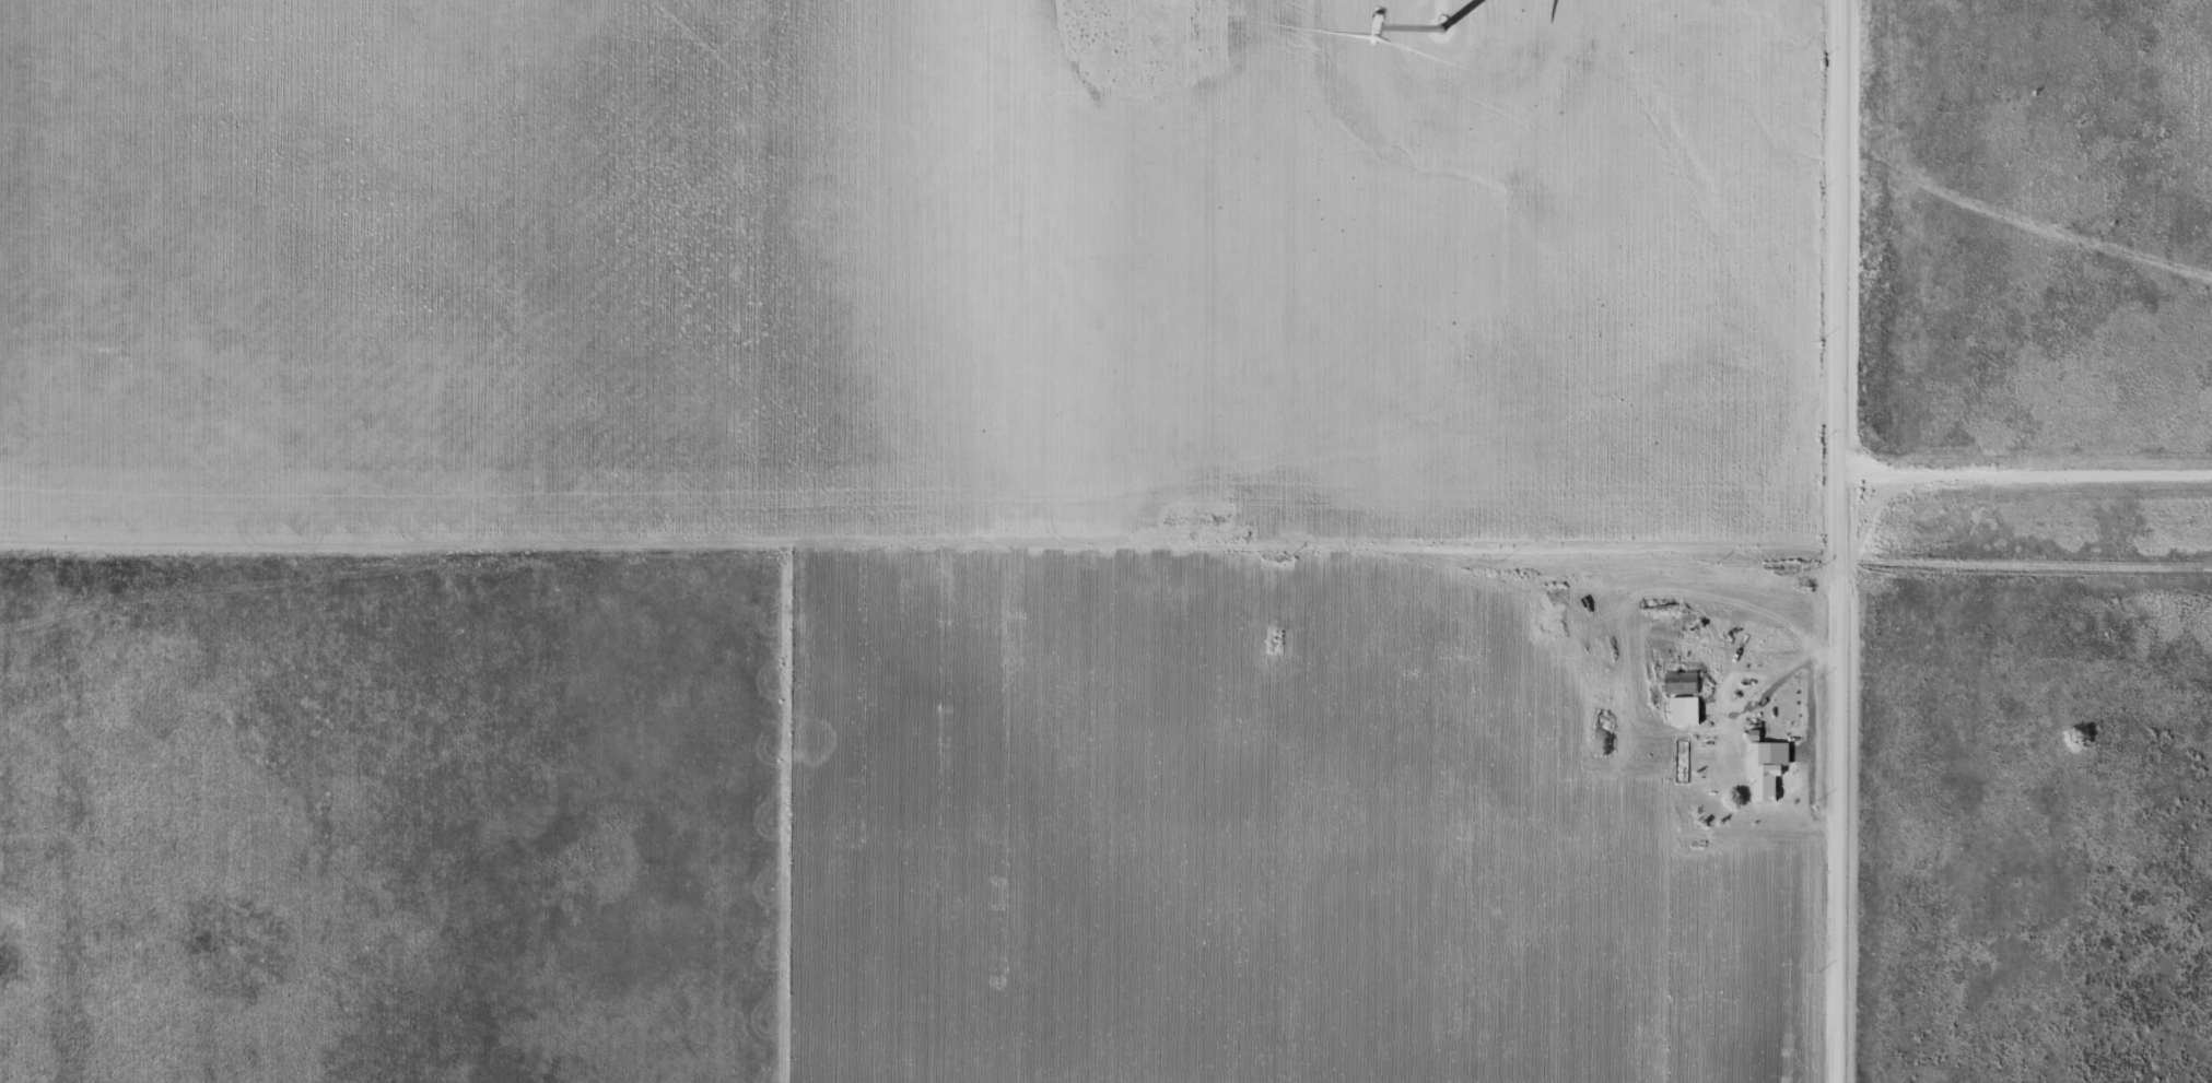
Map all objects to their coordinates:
wind turbine: (1438, 33)
road: (1883, 544)
road: (2047, 558)
building: (1637, 574)
building: (1588, 658)
building: (1678, 684)
road: (1765, 695)
building: (1682, 710)
building: (1597, 734)
road: (1811, 738)
building: (1759, 773)

